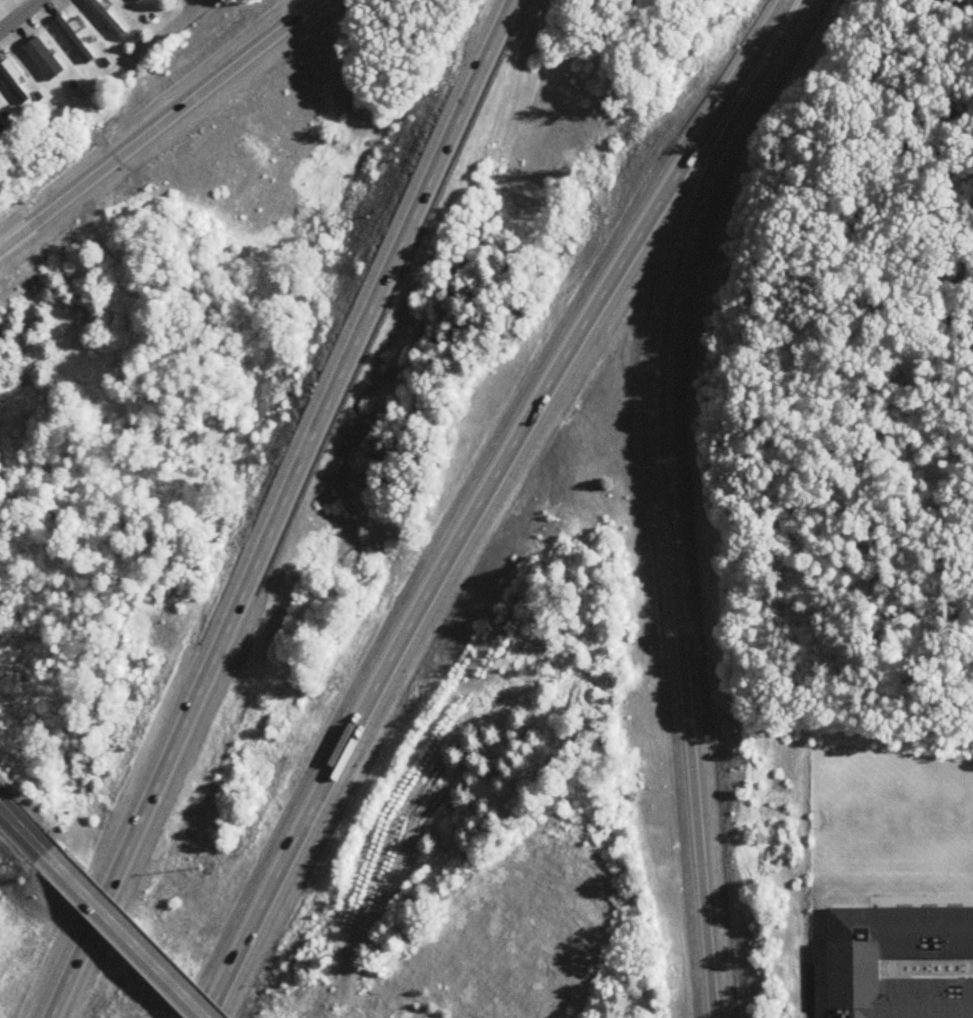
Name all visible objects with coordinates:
building: (139, 1)
road: (21, 17)
building: (106, 18)
building: (75, 41)
building: (14, 81)
road: (161, 125)
building: (2, 129)
road: (666, 493)
road: (480, 498)
road: (284, 508)
road: (27, 834)
park: (880, 834)
road: (130, 940)
building: (855, 967)
road: (802, 979)
building: (54, 1002)

